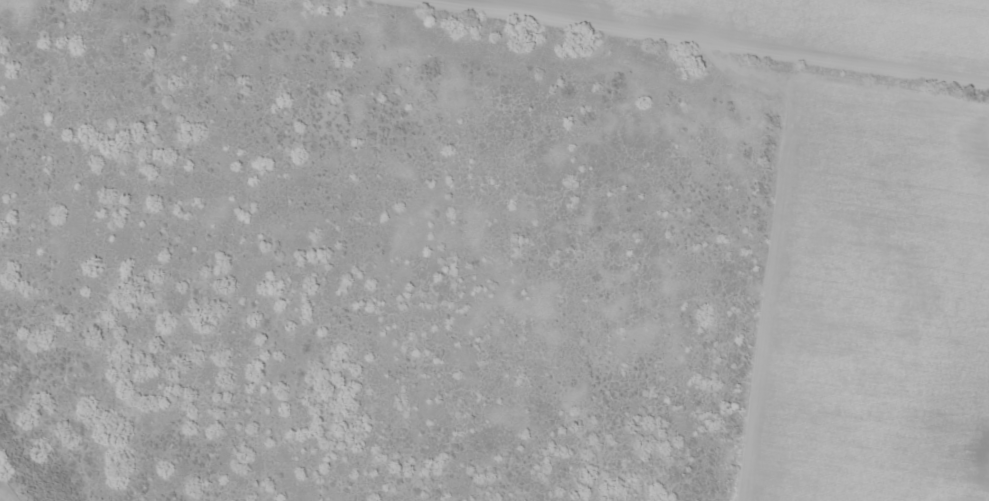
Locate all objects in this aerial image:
road: (254, 388)
airport: (4, 495)

